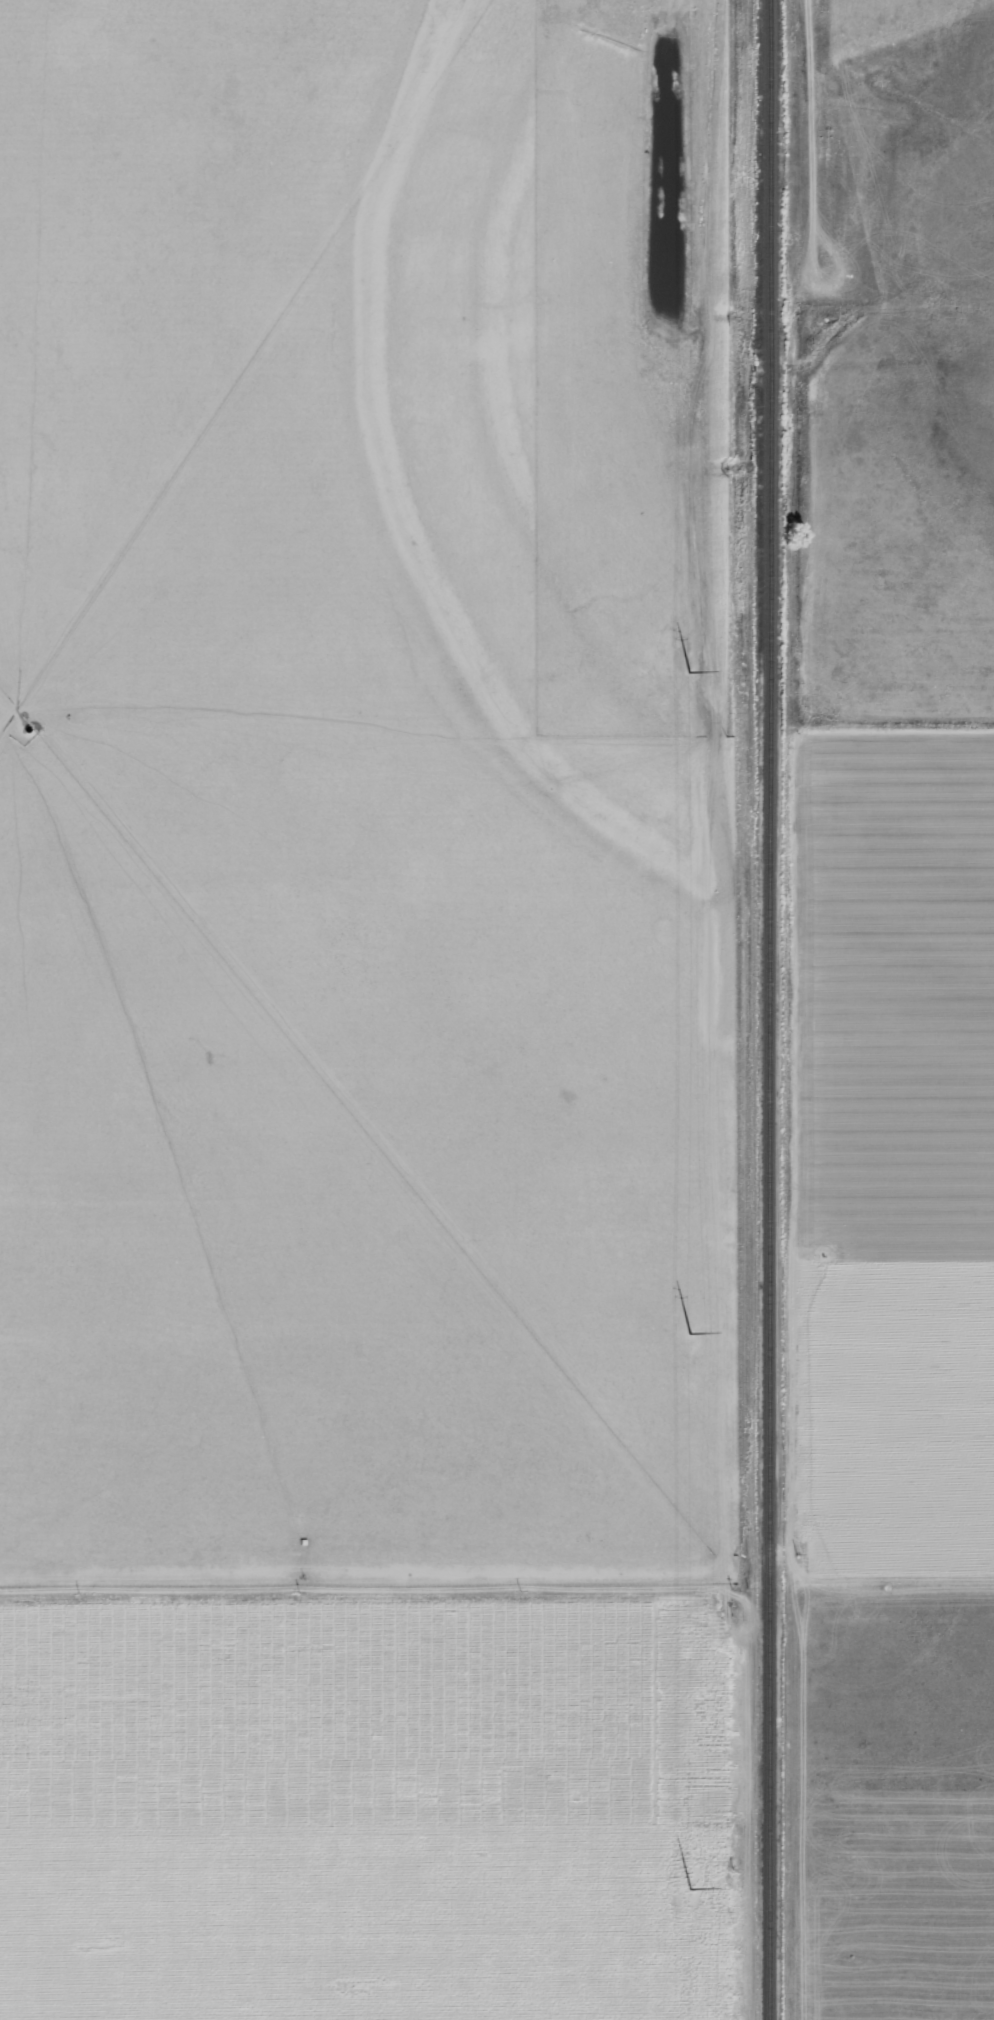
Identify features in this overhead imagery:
railway: (769, 1010)
road: (903, 1585)
road: (364, 1601)

